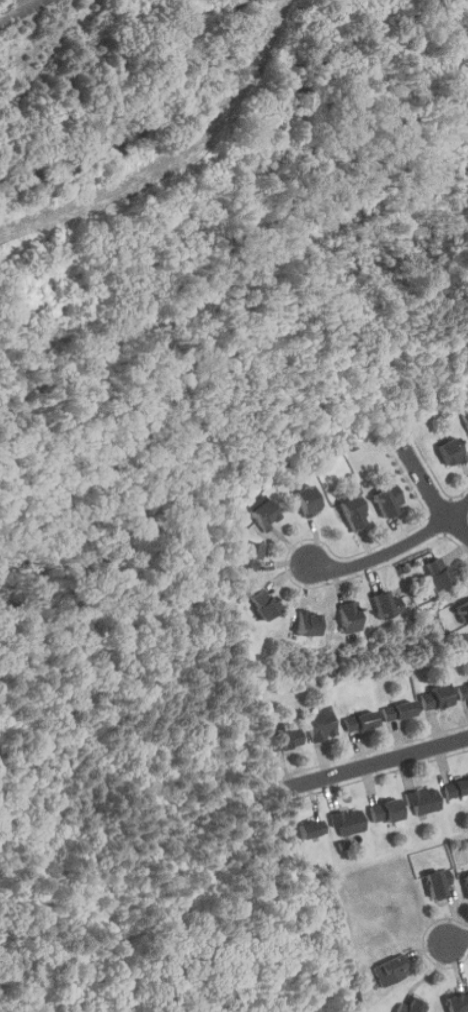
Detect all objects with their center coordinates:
park: (83, 71)
building: (466, 417)
building: (452, 452)
road: (428, 481)
building: (308, 500)
building: (389, 500)
building: (355, 513)
building: (265, 514)
road: (393, 551)
building: (249, 556)
building: (439, 572)
building: (265, 603)
building: (388, 604)
building: (464, 611)
building: (352, 617)
building: (311, 623)
building: (463, 692)
building: (436, 698)
building: (399, 710)
building: (361, 721)
building: (322, 724)
building: (284, 739)
road: (374, 765)
building: (456, 788)
building: (424, 801)
building: (386, 811)
building: (349, 822)
building: (312, 829)
building: (467, 880)
building: (438, 883)
road: (462, 938)
building: (392, 971)
building: (458, 1003)
building: (411, 1007)

